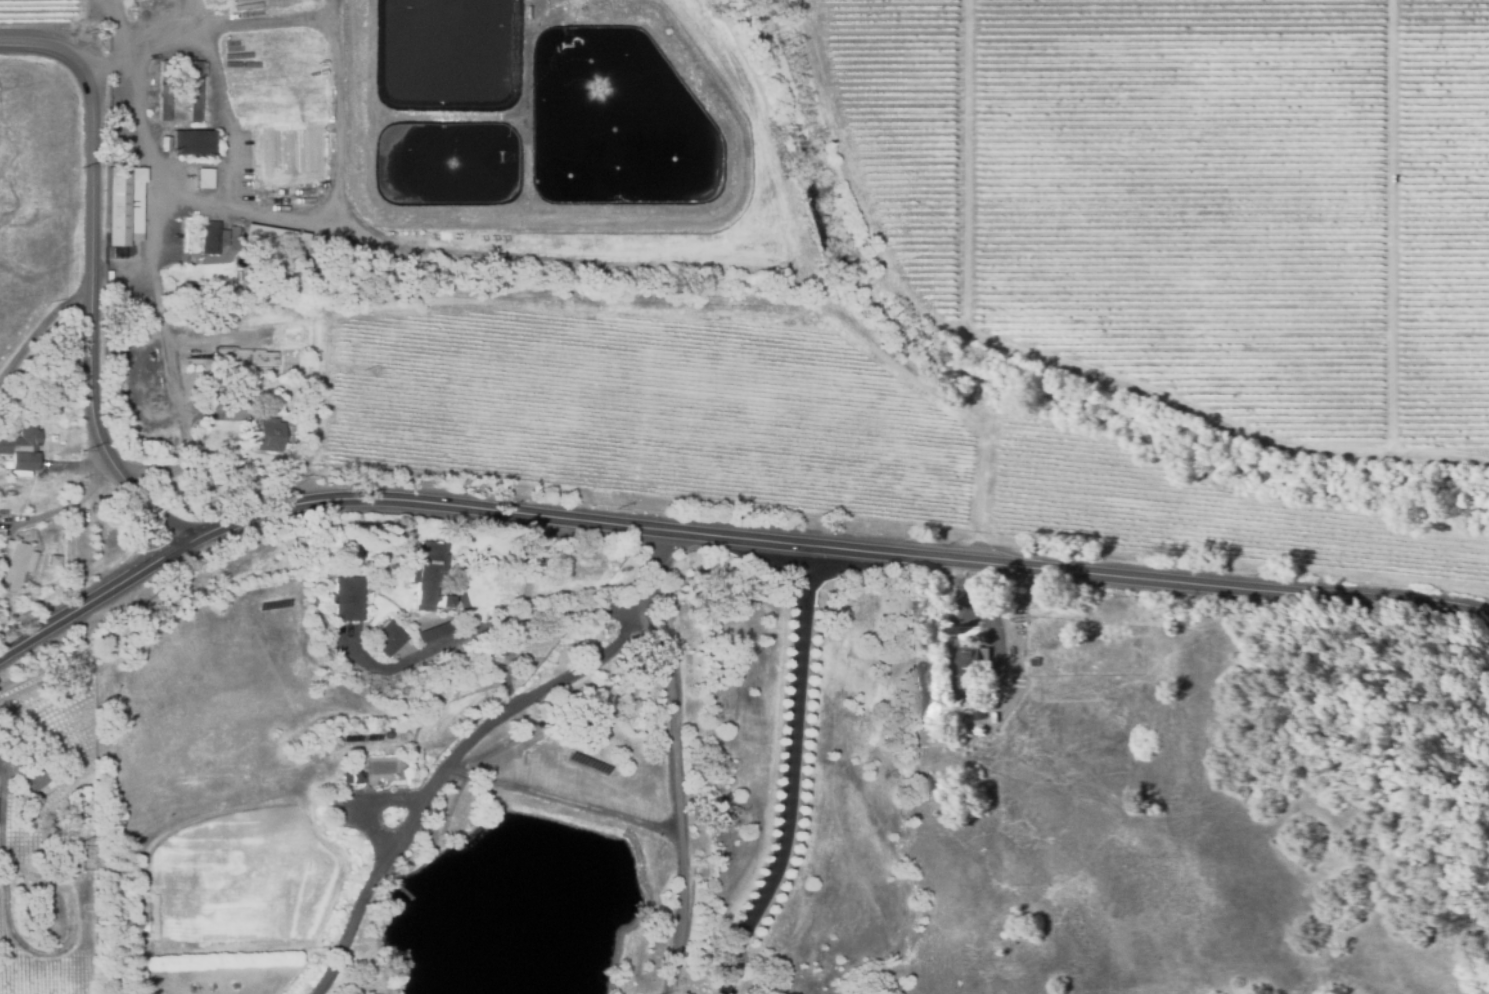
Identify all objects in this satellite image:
building: (543, 1)
building: (521, 11)
road: (88, 29)
building: (162, 91)
building: (191, 93)
building: (163, 144)
building: (196, 147)
building: (203, 179)
building: (121, 206)
building: (209, 230)
building: (261, 236)
road: (93, 272)
road: (1042, 352)
building: (197, 360)
building: (225, 393)
building: (268, 436)
building: (52, 437)
building: (21, 447)
road: (839, 549)
building: (53, 561)
building: (15, 565)
building: (428, 576)
road: (92, 592)
building: (347, 601)
road: (481, 625)
building: (435, 632)
building: (387, 639)
building: (499, 648)
building: (1033, 660)
building: (971, 661)
road: (512, 666)
building: (494, 669)
road: (548, 689)
building: (963, 701)
building: (976, 712)
building: (377, 734)
building: (356, 735)
building: (353, 760)
road: (788, 773)
building: (353, 778)
building: (30, 781)
road: (675, 800)
road: (561, 801)
dam: (620, 844)
road: (357, 908)
building: (51, 913)
road: (15, 932)

